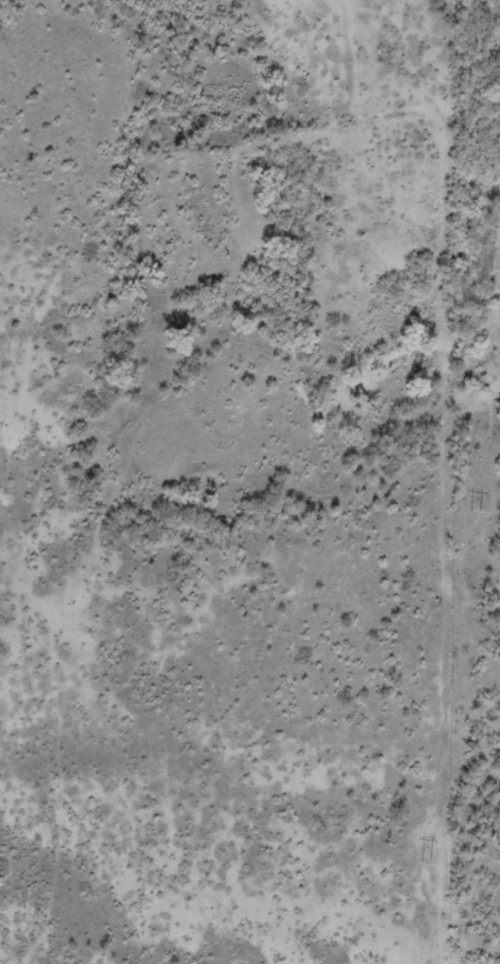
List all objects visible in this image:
power tower: (475, 509)
power tower: (426, 861)

